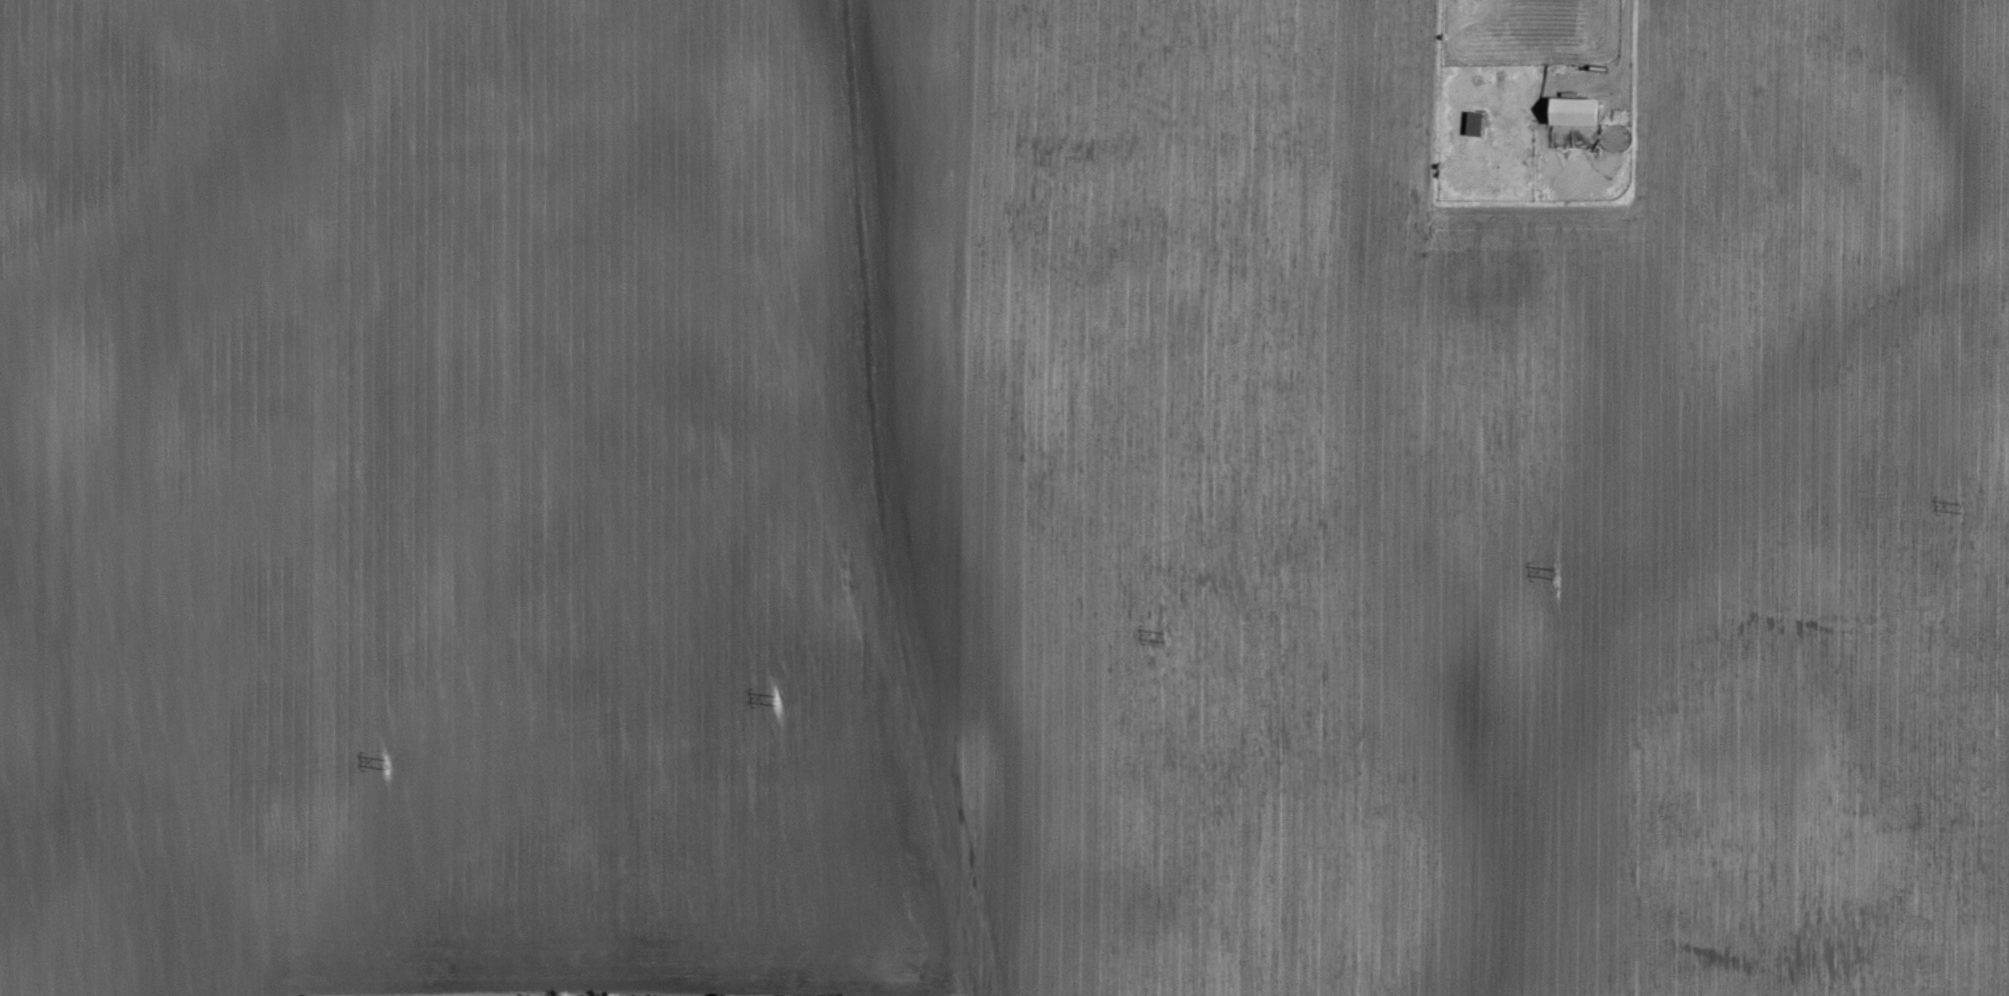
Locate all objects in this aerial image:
road: (1626, 45)
building: (1574, 112)
building: (1475, 123)
crop: (994, 505)
power tower: (1553, 571)

